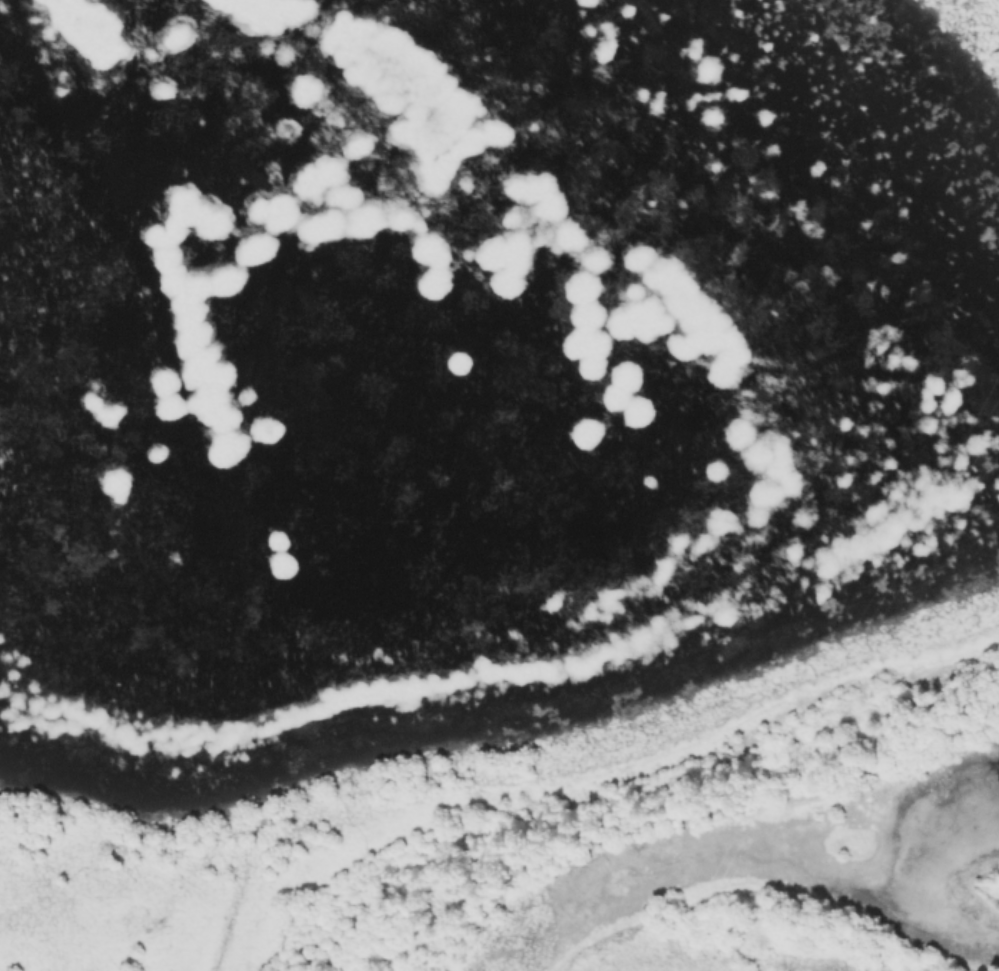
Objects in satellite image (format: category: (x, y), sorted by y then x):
road: (978, 701)

